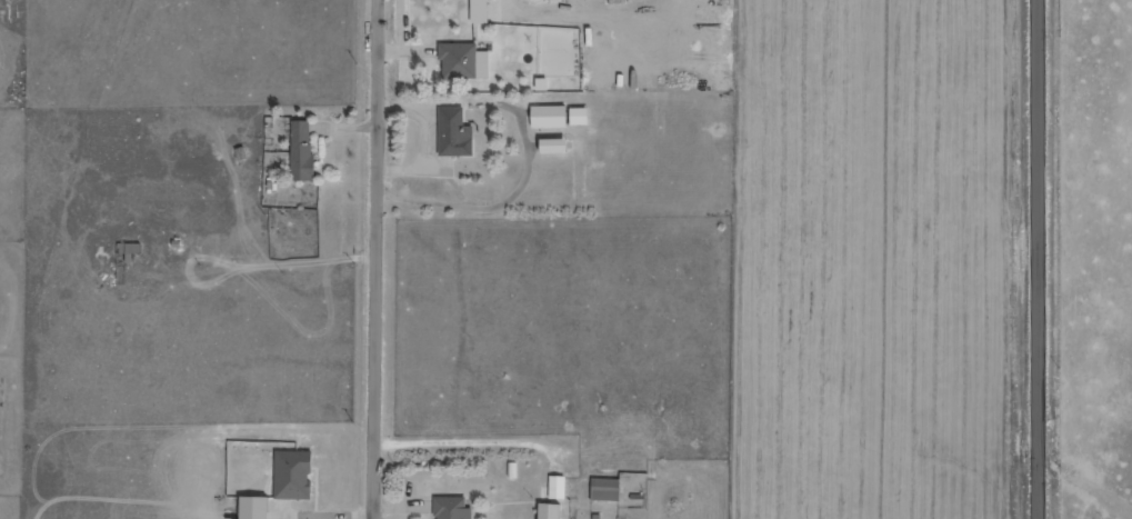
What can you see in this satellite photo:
building: (480, 11)
building: (464, 61)
building: (581, 116)
building: (550, 117)
building: (454, 132)
building: (557, 146)
building: (302, 151)
building: (130, 250)
road: (379, 259)
road: (1041, 259)
building: (294, 475)
building: (558, 487)
building: (607, 489)
building: (257, 508)
building: (452, 508)
building: (551, 511)

